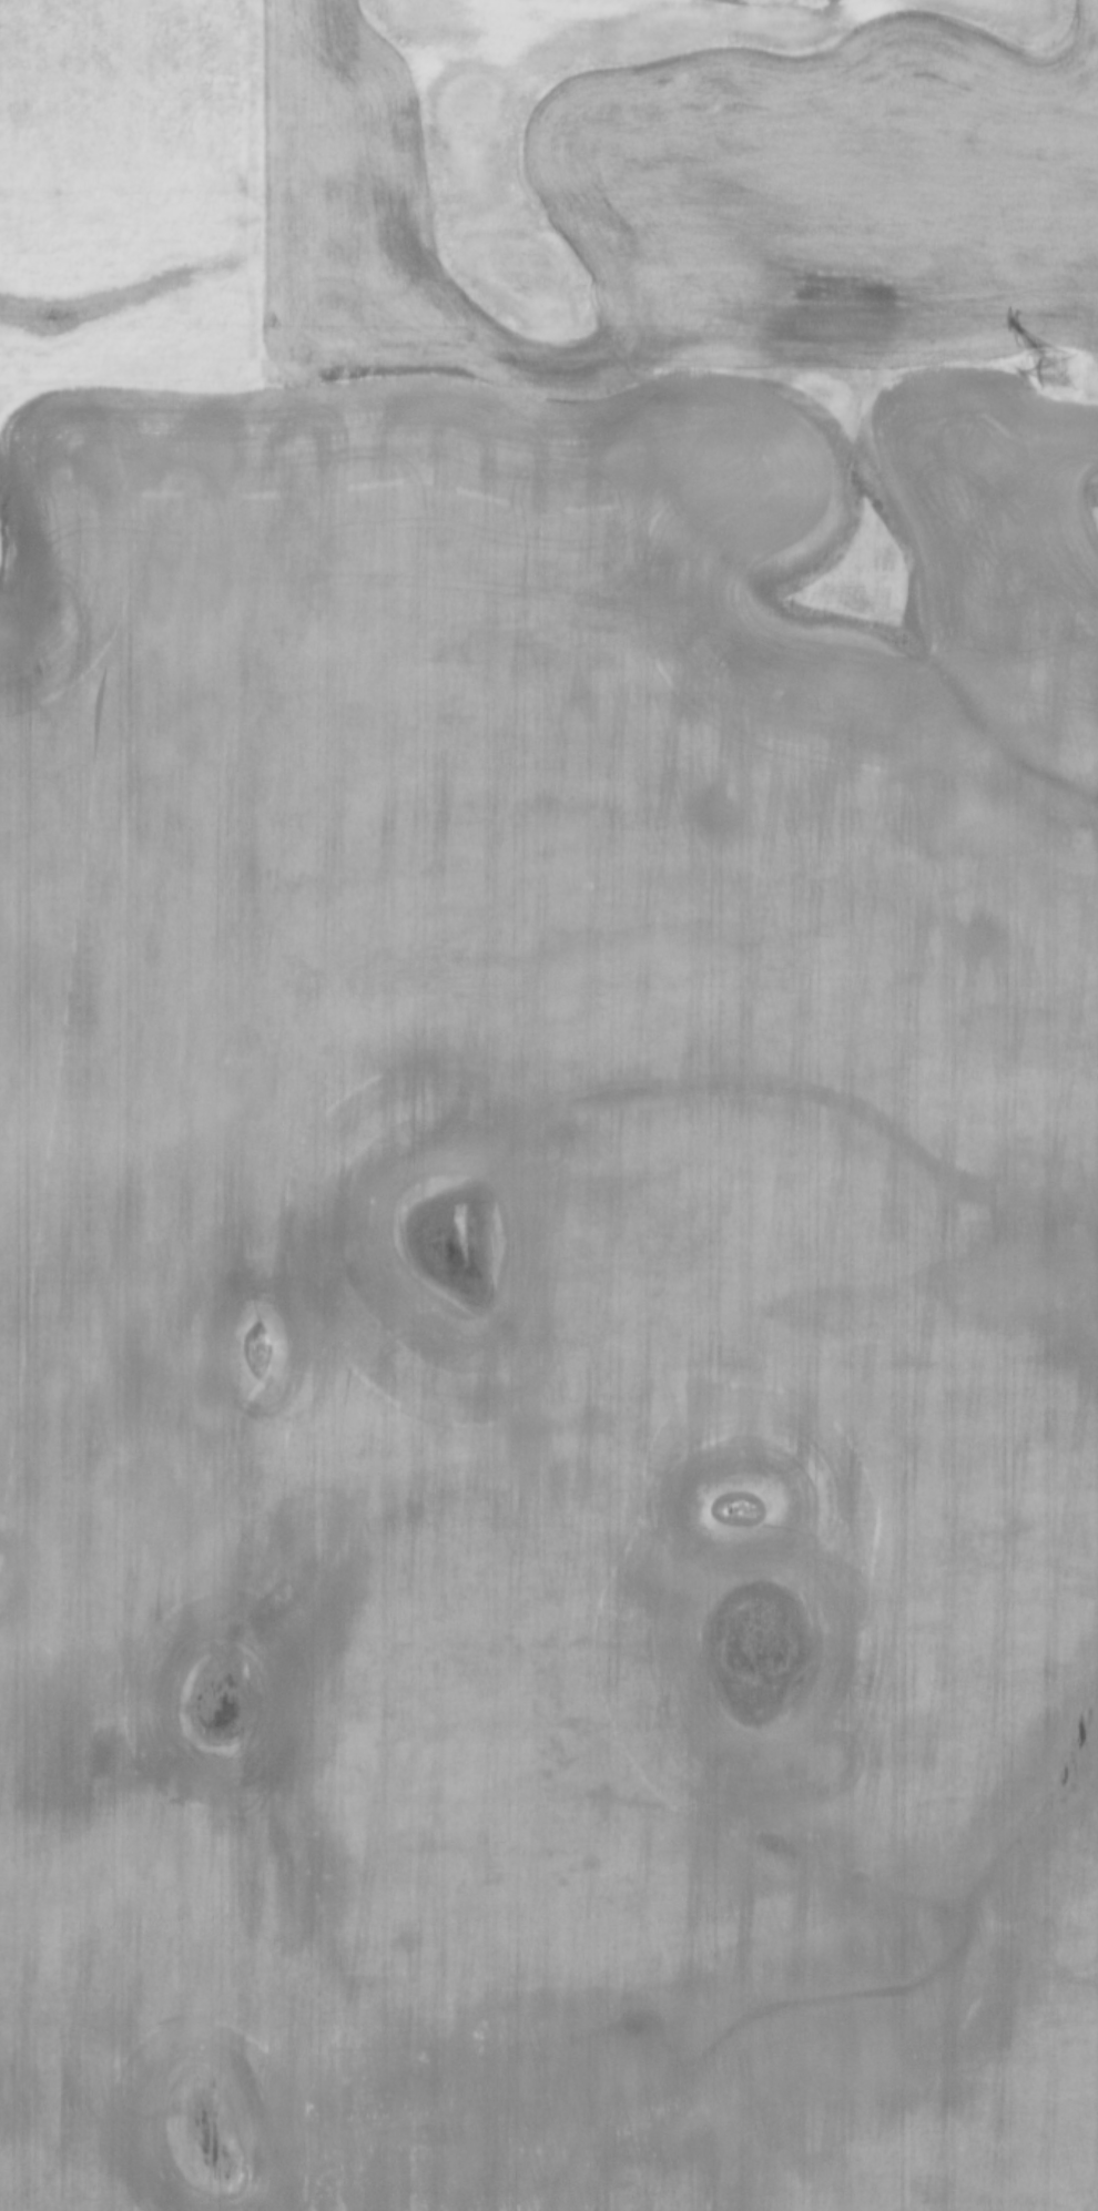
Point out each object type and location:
power tower: (1057, 373)

